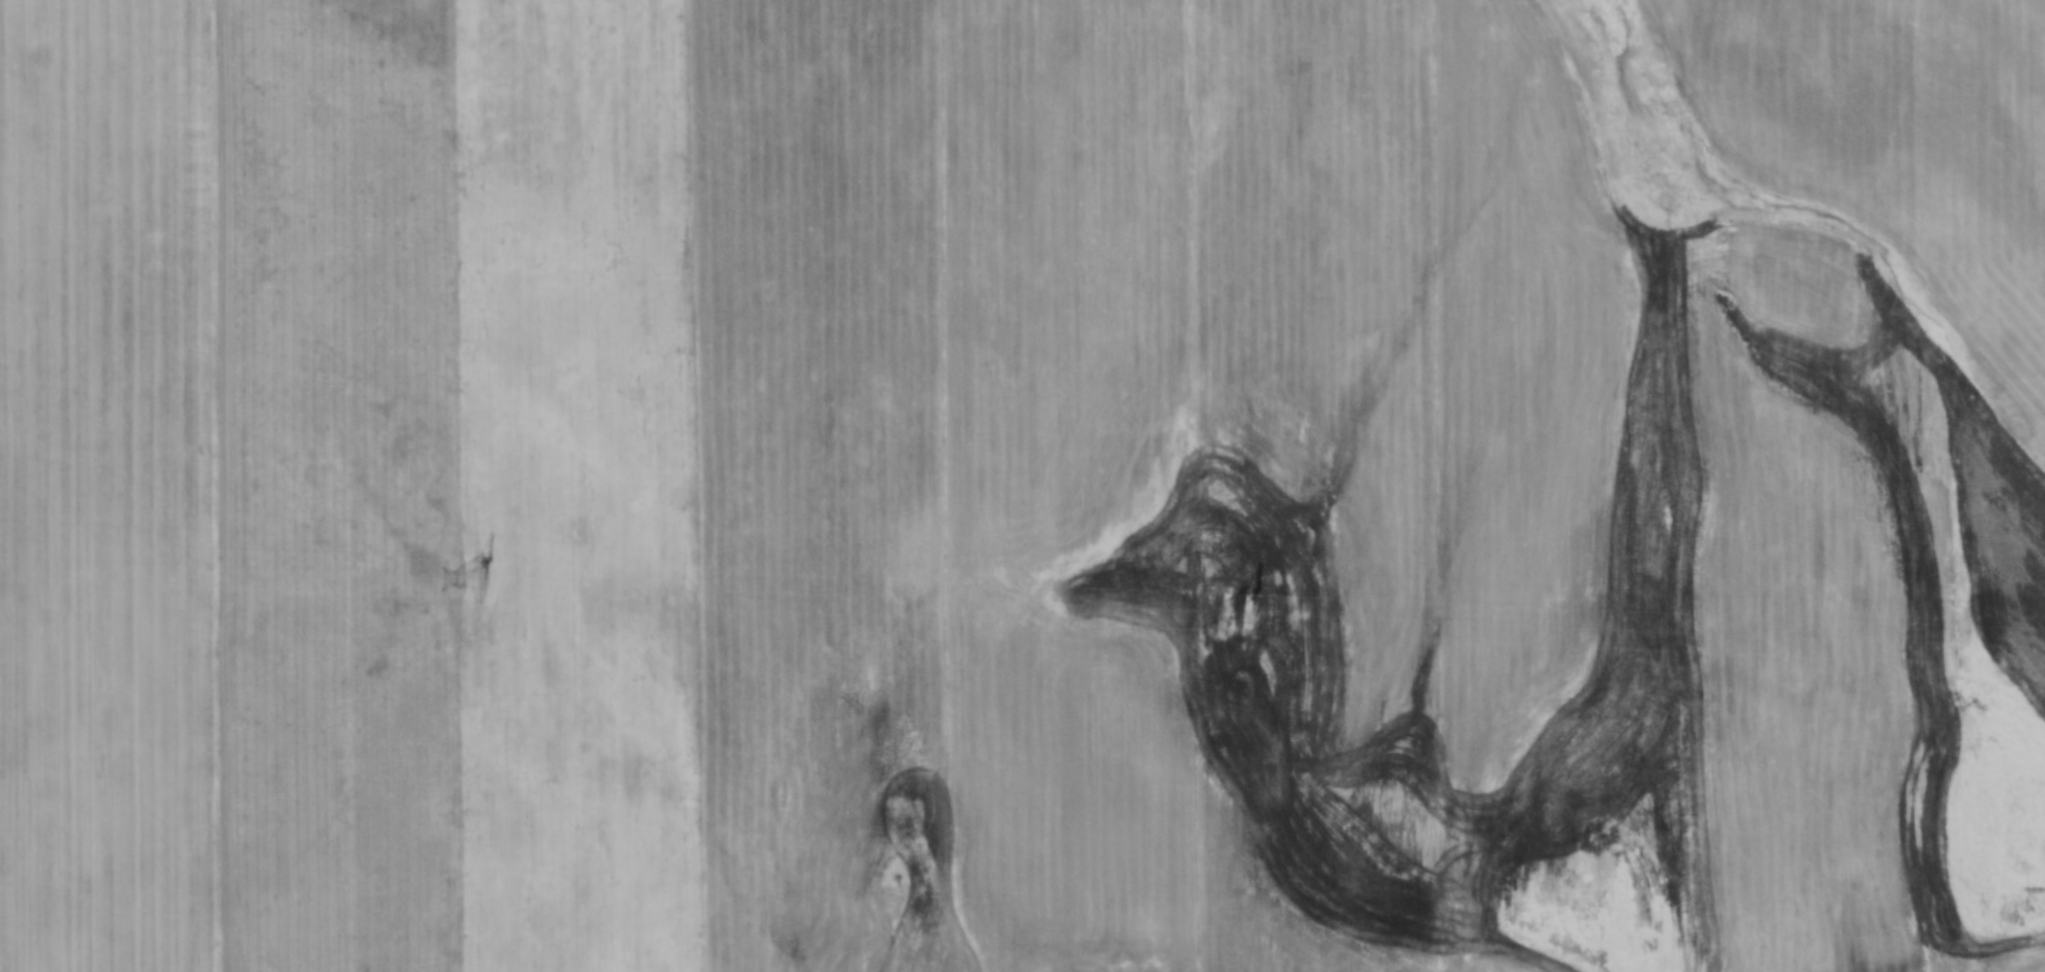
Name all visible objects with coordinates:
power tower: (465, 561)
power tower: (1233, 603)

